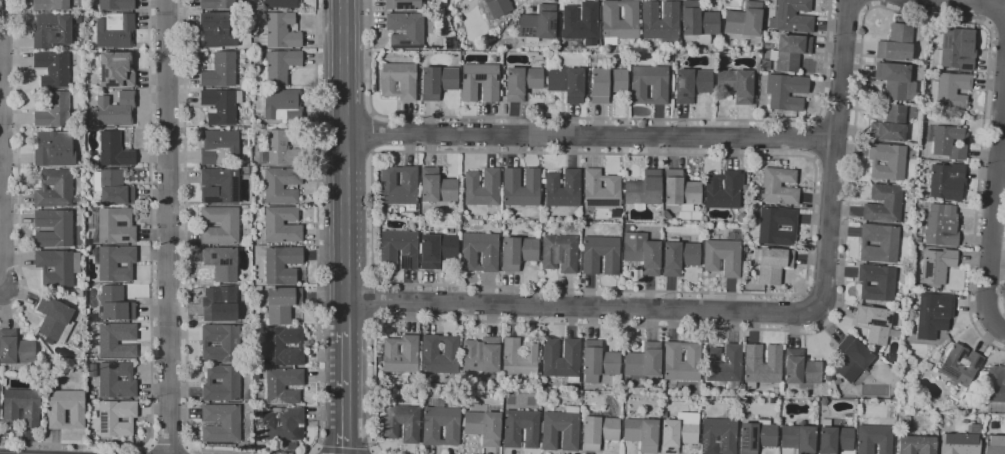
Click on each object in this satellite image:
road: (868, 3)
road: (964, 3)
building: (217, 4)
building: (281, 4)
building: (402, 4)
rooftop solar panel: (405, 4)
building: (50, 5)
building: (116, 5)
road: (848, 5)
building: (495, 8)
road: (988, 12)
building: (792, 17)
building: (77, 19)
building: (744, 20)
building: (619, 21)
building: (699, 21)
building: (661, 22)
building: (581, 23)
building: (538, 24)
rooftop solar panel: (552, 24)
rooftop solar panel: (525, 29)
building: (115, 30)
building: (217, 30)
building: (405, 30)
building: (51, 31)
building: (280, 31)
road: (997, 38)
rooftop solar panel: (401, 41)
rooftop solar panel: (946, 41)
building: (449, 43)
building: (896, 43)
building: (256, 46)
rooftop solar panel: (404, 47)
building: (956, 49)
building: (791, 52)
building: (497, 54)
building: (764, 65)
building: (280, 66)
building: (53, 69)
building: (115, 70)
building: (220, 71)
rooftop solar panel: (482, 75)
building: (893, 80)
building: (399, 81)
building: (437, 82)
building: (480, 82)
building: (521, 82)
building: (566, 82)
rooftop solar panel: (681, 83)
building: (606, 84)
building: (736, 84)
building: (691, 85)
building: (659, 88)
building: (908, 90)
building: (950, 90)
building: (785, 91)
rooftop solar panel: (684, 94)
building: (221, 105)
building: (282, 105)
building: (116, 109)
building: (54, 111)
road: (597, 118)
road: (835, 120)
building: (246, 122)
building: (890, 125)
road: (375, 134)
road: (590, 136)
road: (813, 139)
building: (950, 139)
building: (219, 148)
building: (281, 148)
building: (54, 149)
building: (114, 150)
road: (835, 154)
building: (887, 161)
road: (0, 162)
road: (832, 162)
road: (18, 164)
road: (344, 165)
building: (947, 181)
building: (222, 184)
building: (278, 184)
building: (399, 186)
building: (779, 186)
building: (112, 187)
building: (437, 187)
building: (521, 187)
building: (482, 188)
building: (563, 188)
building: (55, 189)
building: (600, 189)
building: (643, 190)
building: (724, 190)
rooftop solar panel: (232, 191)
building: (681, 191)
road: (994, 200)
rooftop solar panel: (211, 202)
rooftop solar panel: (608, 202)
building: (884, 203)
building: (665, 215)
building: (220, 225)
building: (282, 225)
building: (941, 225)
building: (114, 226)
road: (168, 226)
building: (776, 226)
building: (53, 228)
road: (316, 231)
road: (845, 232)
rooftop solar panel: (125, 238)
building: (917, 239)
building: (879, 243)
building: (400, 248)
building: (436, 250)
building: (479, 252)
building: (517, 252)
building: (642, 252)
building: (559, 253)
building: (600, 255)
building: (723, 255)
rooftop solar panel: (213, 256)
building: (679, 256)
rooftop solar panel: (222, 261)
building: (115, 262)
rooftop solar panel: (227, 262)
building: (221, 263)
building: (282, 264)
rooftop solar panel: (404, 264)
building: (772, 264)
building: (937, 265)
building: (57, 267)
road: (184, 267)
building: (877, 282)
road: (805, 285)
road: (0, 289)
building: (255, 290)
road: (1003, 293)
road: (150, 297)
road: (376, 301)
building: (220, 304)
building: (281, 304)
building: (111, 305)
road: (581, 307)
building: (932, 315)
building: (54, 319)
rooftop solar panel: (875, 320)
building: (875, 323)
road: (999, 328)
rooftop solar panel: (873, 335)
building: (108, 343)
building: (220, 343)
building: (281, 347)
building: (15, 348)
rooftop solar panel: (960, 351)
building: (401, 354)
building: (440, 354)
building: (481, 355)
building: (519, 358)
building: (561, 359)
building: (852, 359)
rooftop solar panel: (976, 360)
building: (598, 361)
building: (644, 361)
building: (682, 361)
building: (724, 365)
building: (762, 365)
building: (960, 365)
building: (928, 366)
building: (92, 370)
building: (801, 370)
rooftop solar panel: (947, 372)
building: (116, 380)
building: (221, 383)
building: (996, 384)
building: (283, 385)
building: (775, 391)
road: (346, 392)
building: (248, 395)
building: (21, 408)
building: (66, 409)
building: (116, 417)
building: (221, 423)
building: (283, 423)
building: (402, 423)
building: (441, 424)
building: (483, 427)
building: (520, 428)
building: (560, 430)
building: (598, 432)
rooftop solar panel: (750, 433)
building: (642, 434)
building: (677, 435)
building: (718, 436)
building: (757, 436)
building: (798, 438)
building: (834, 438)
building: (874, 438)
rooftop solar panel: (742, 439)
rooftop solar panel: (702, 441)
building: (961, 441)
building: (994, 444)
building: (916, 445)
road: (168, 447)
building: (255, 448)
building: (292, 448)
traffic signals: (347, 448)
rooftop solar panel: (723, 448)
road: (343, 449)
road: (317, 451)

